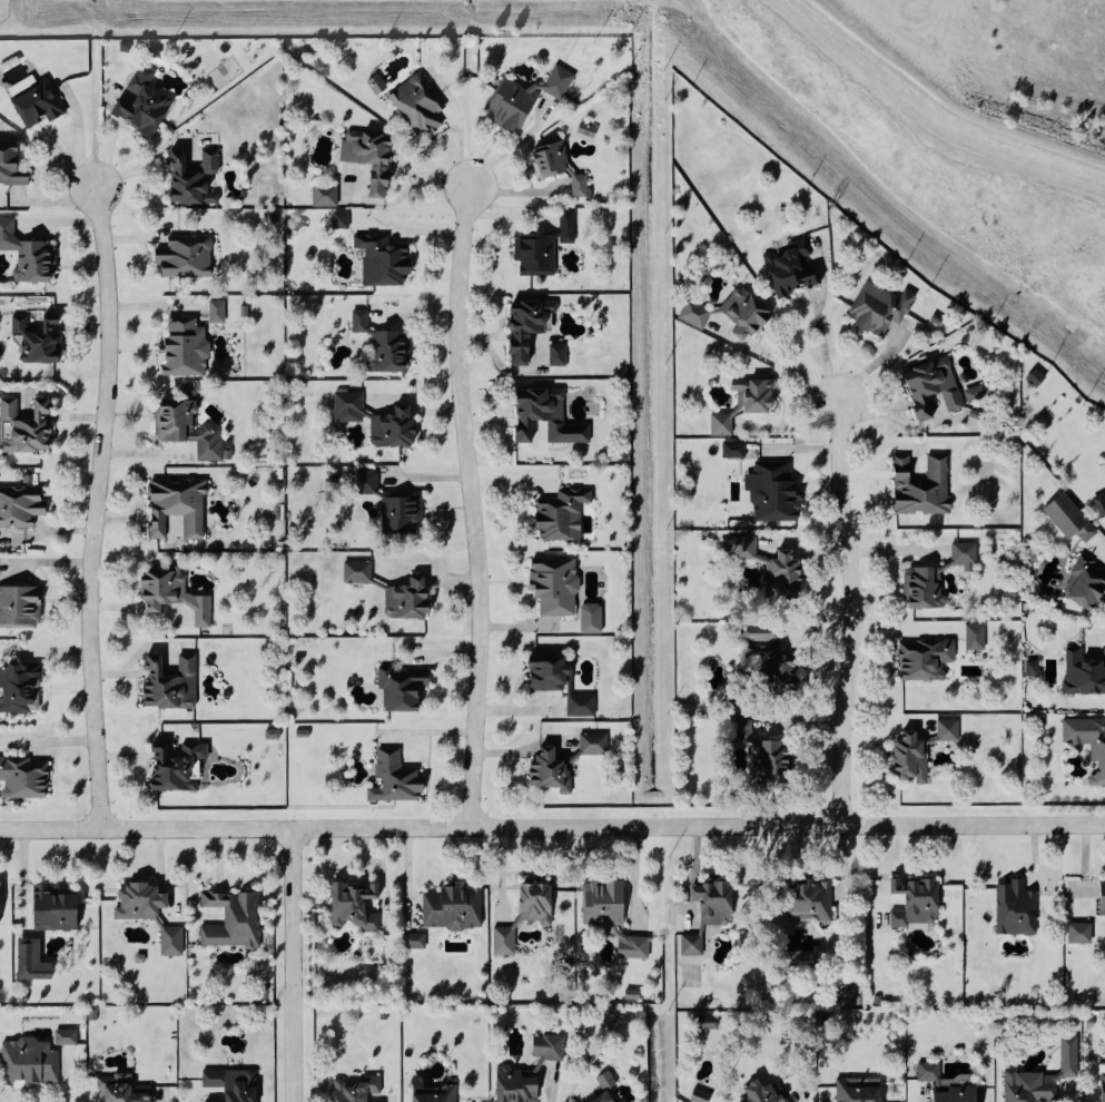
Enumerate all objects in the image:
building: (378, 85)
building: (526, 98)
building: (145, 102)
building: (40, 104)
building: (420, 104)
building: (589, 129)
building: (372, 157)
building: (11, 165)
building: (561, 167)
building: (195, 178)
building: (326, 196)
building: (343, 219)
building: (544, 247)
building: (29, 254)
building: (187, 257)
building: (385, 259)
building: (793, 268)
building: (881, 307)
building: (218, 312)
building: (697, 313)
building: (747, 313)
building: (530, 325)
building: (39, 340)
building: (384, 345)
building: (186, 347)
road: (826, 350)
building: (560, 355)
road: (783, 363)
building: (1037, 377)
building: (935, 386)
building: (977, 393)
building: (756, 394)
building: (351, 406)
building: (549, 416)
building: (723, 424)
building: (28, 426)
building: (395, 427)
building: (190, 430)
building: (736, 450)
building: (369, 482)
building: (923, 486)
building: (776, 491)
road: (474, 503)
building: (1101, 503)
building: (179, 505)
building: (21, 506)
road: (97, 508)
building: (403, 511)
building: (564, 514)
building: (1072, 519)
road: (1102, 545)
building: (744, 548)
building: (359, 572)
building: (786, 572)
building: (940, 578)
building: (1087, 584)
building: (556, 586)
building: (175, 596)
building: (410, 599)
building: (20, 607)
road: (852, 612)
building: (593, 618)
building: (977, 637)
building: (772, 656)
building: (927, 659)
building: (1034, 668)
building: (1084, 673)
building: (172, 683)
building: (21, 688)
building: (403, 688)
building: (583, 706)
building: (950, 730)
building: (274, 734)
building: (1088, 741)
road: (48, 742)
building: (595, 745)
building: (762, 752)
building: (912, 758)
building: (178, 766)
building: (552, 771)
building: (26, 777)
building: (397, 779)
road: (552, 826)
building: (1103, 898)
building: (141, 902)
building: (537, 903)
building: (605, 903)
building: (812, 903)
building: (917, 903)
building: (0, 905)
building: (356, 906)
building: (454, 907)
building: (56, 909)
building: (1017, 909)
building: (710, 914)
building: (235, 919)
building: (1082, 933)
building: (172, 941)
building: (416, 941)
building: (506, 941)
building: (635, 946)
building: (33, 962)
road: (293, 964)
building: (634, 994)
building: (707, 1023)
building: (68, 1037)
building: (550, 1046)
building: (31, 1063)
building: (933, 1073)
building: (1045, 1078)
building: (608, 1081)
building: (234, 1084)
building: (520, 1084)
building: (1104, 1086)
building: (122, 1089)
building: (358, 1089)
building: (860, 1090)
road: (553, 1091)
building: (433, 1092)
building: (766, 1093)
building: (959, 1094)
building: (702, 1096)
building: (605, 1098)
building: (624, 1101)

